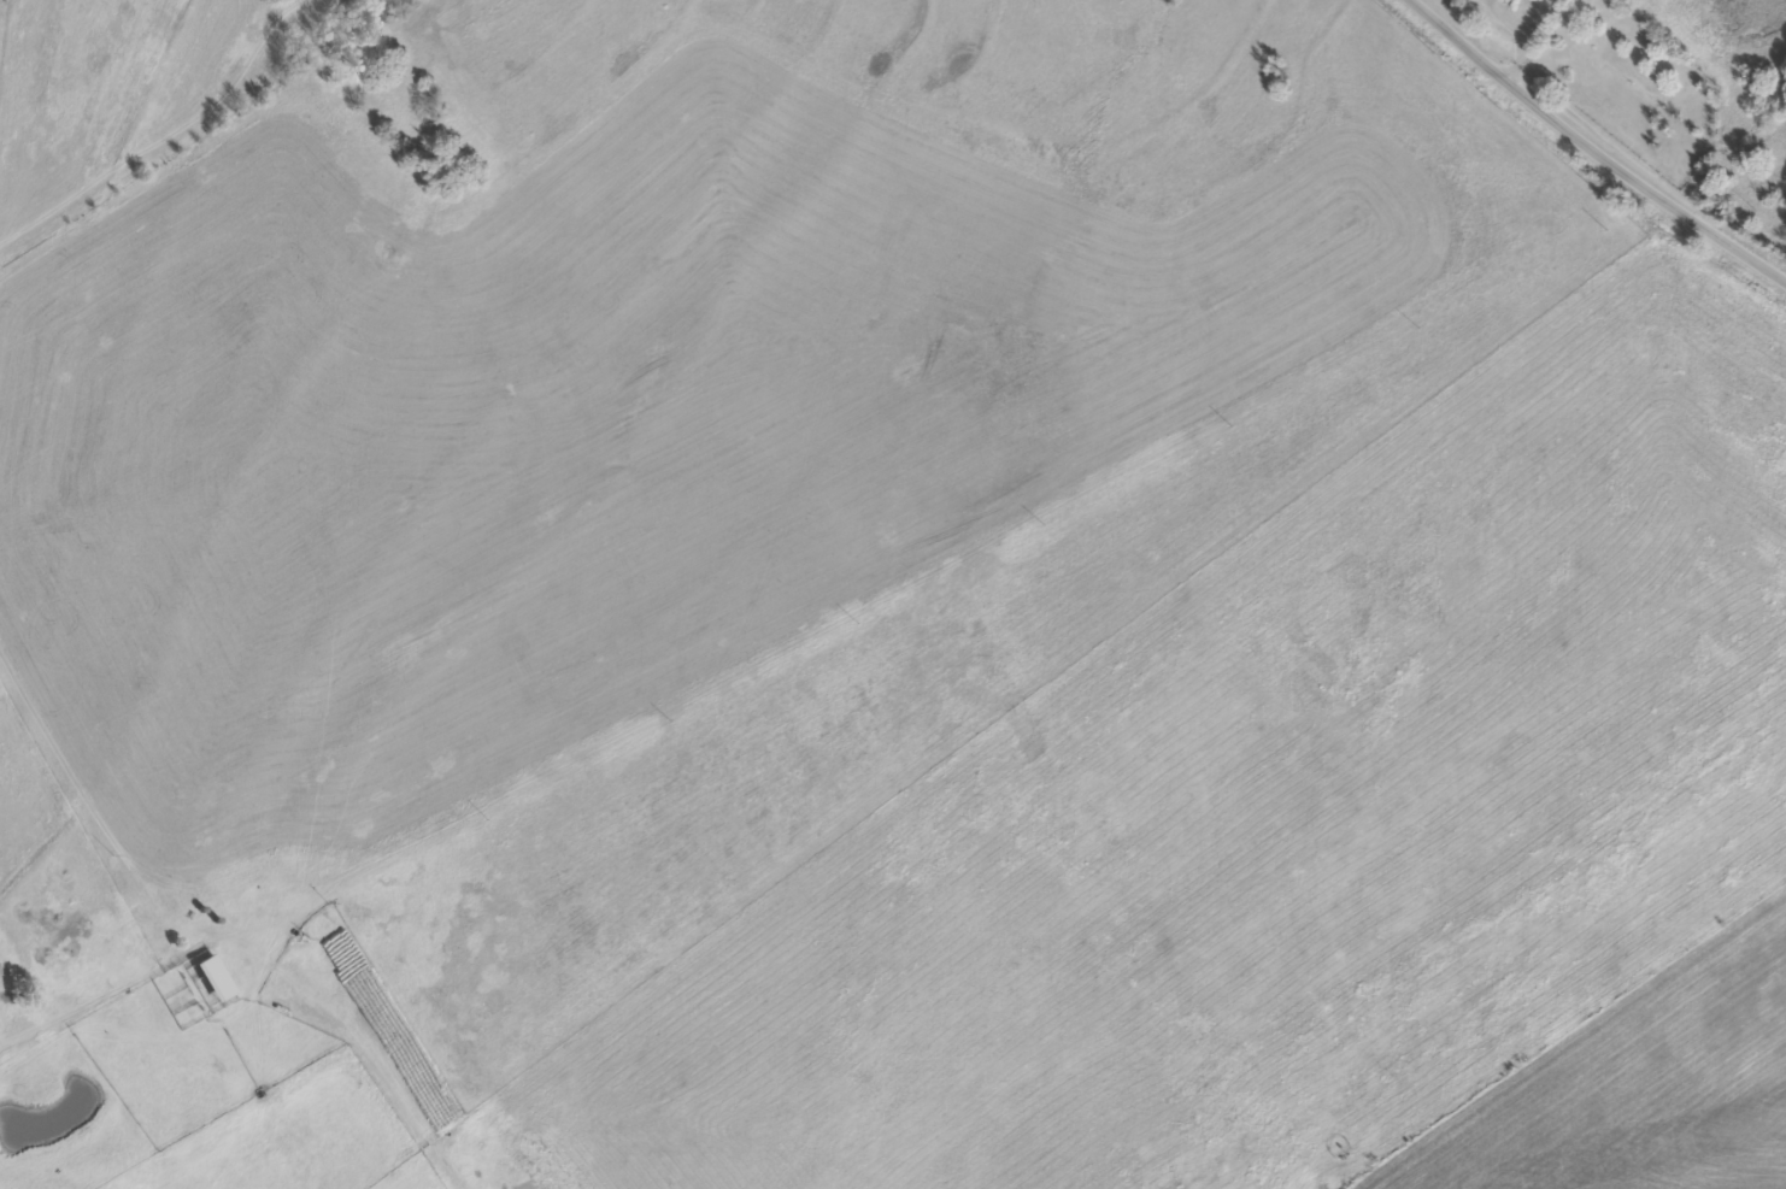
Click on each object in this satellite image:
road: (1446, 45)
road: (1639, 190)

